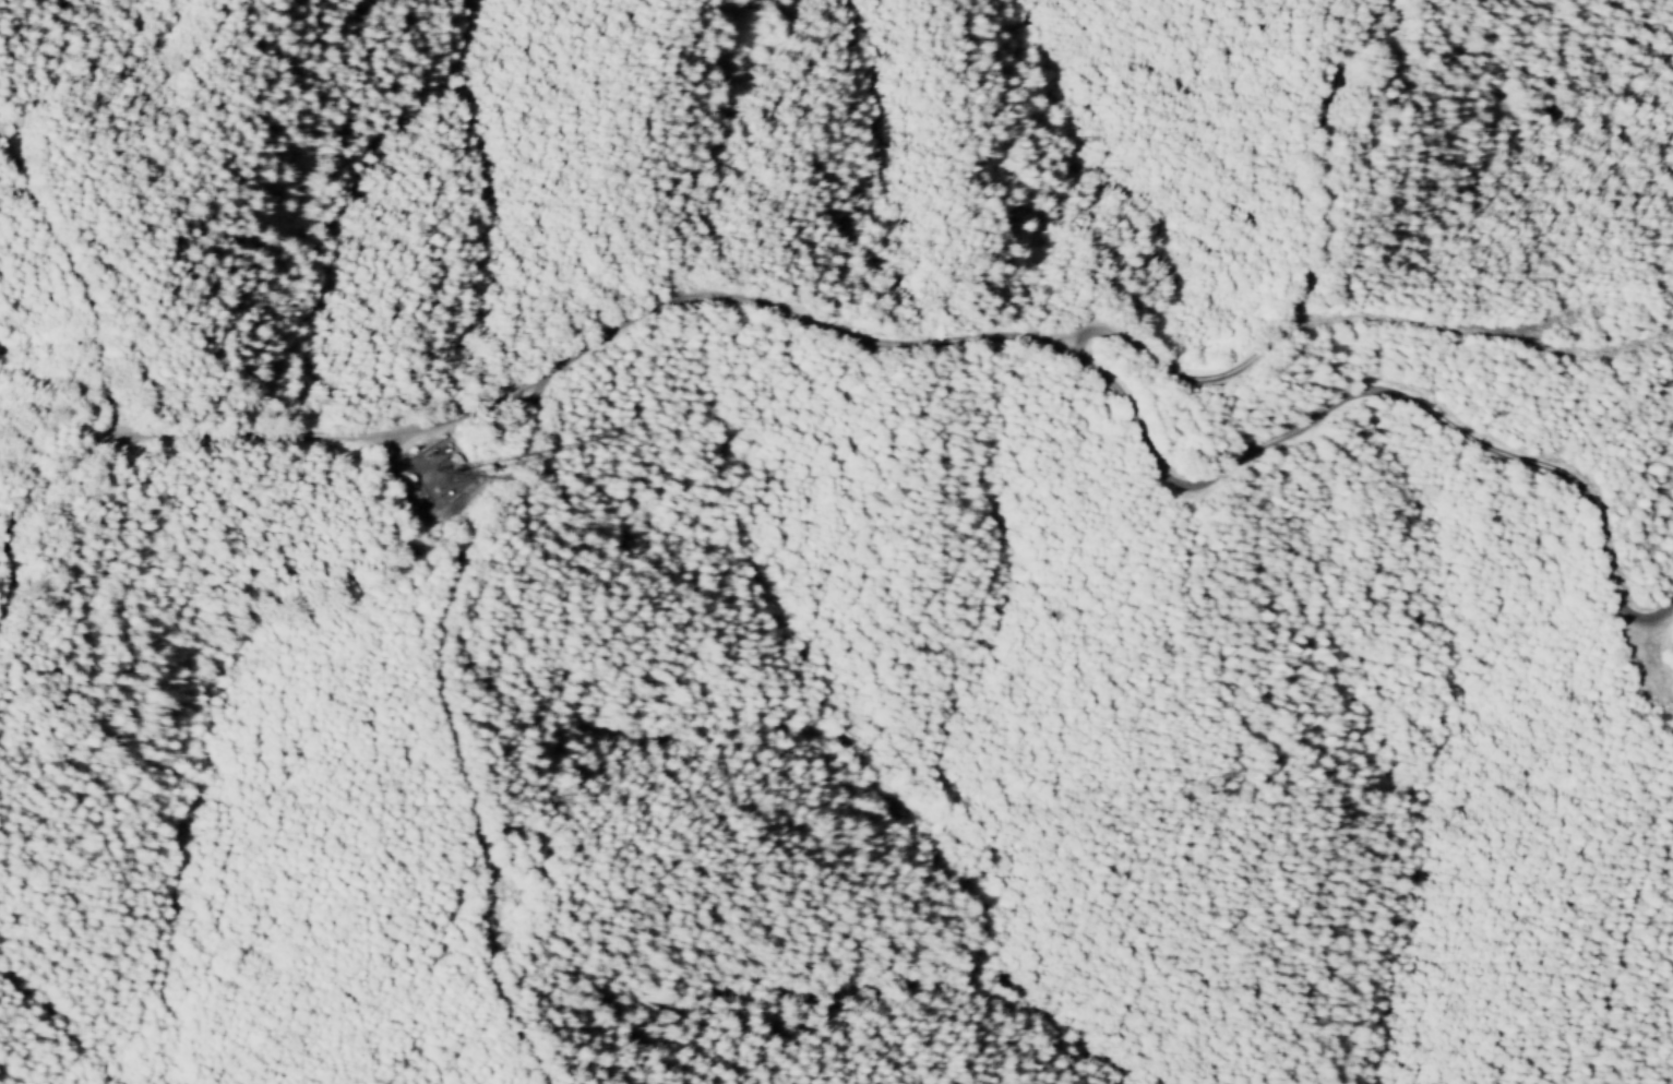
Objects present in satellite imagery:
road: (1298, 289)
road: (1481, 331)
road: (933, 346)

